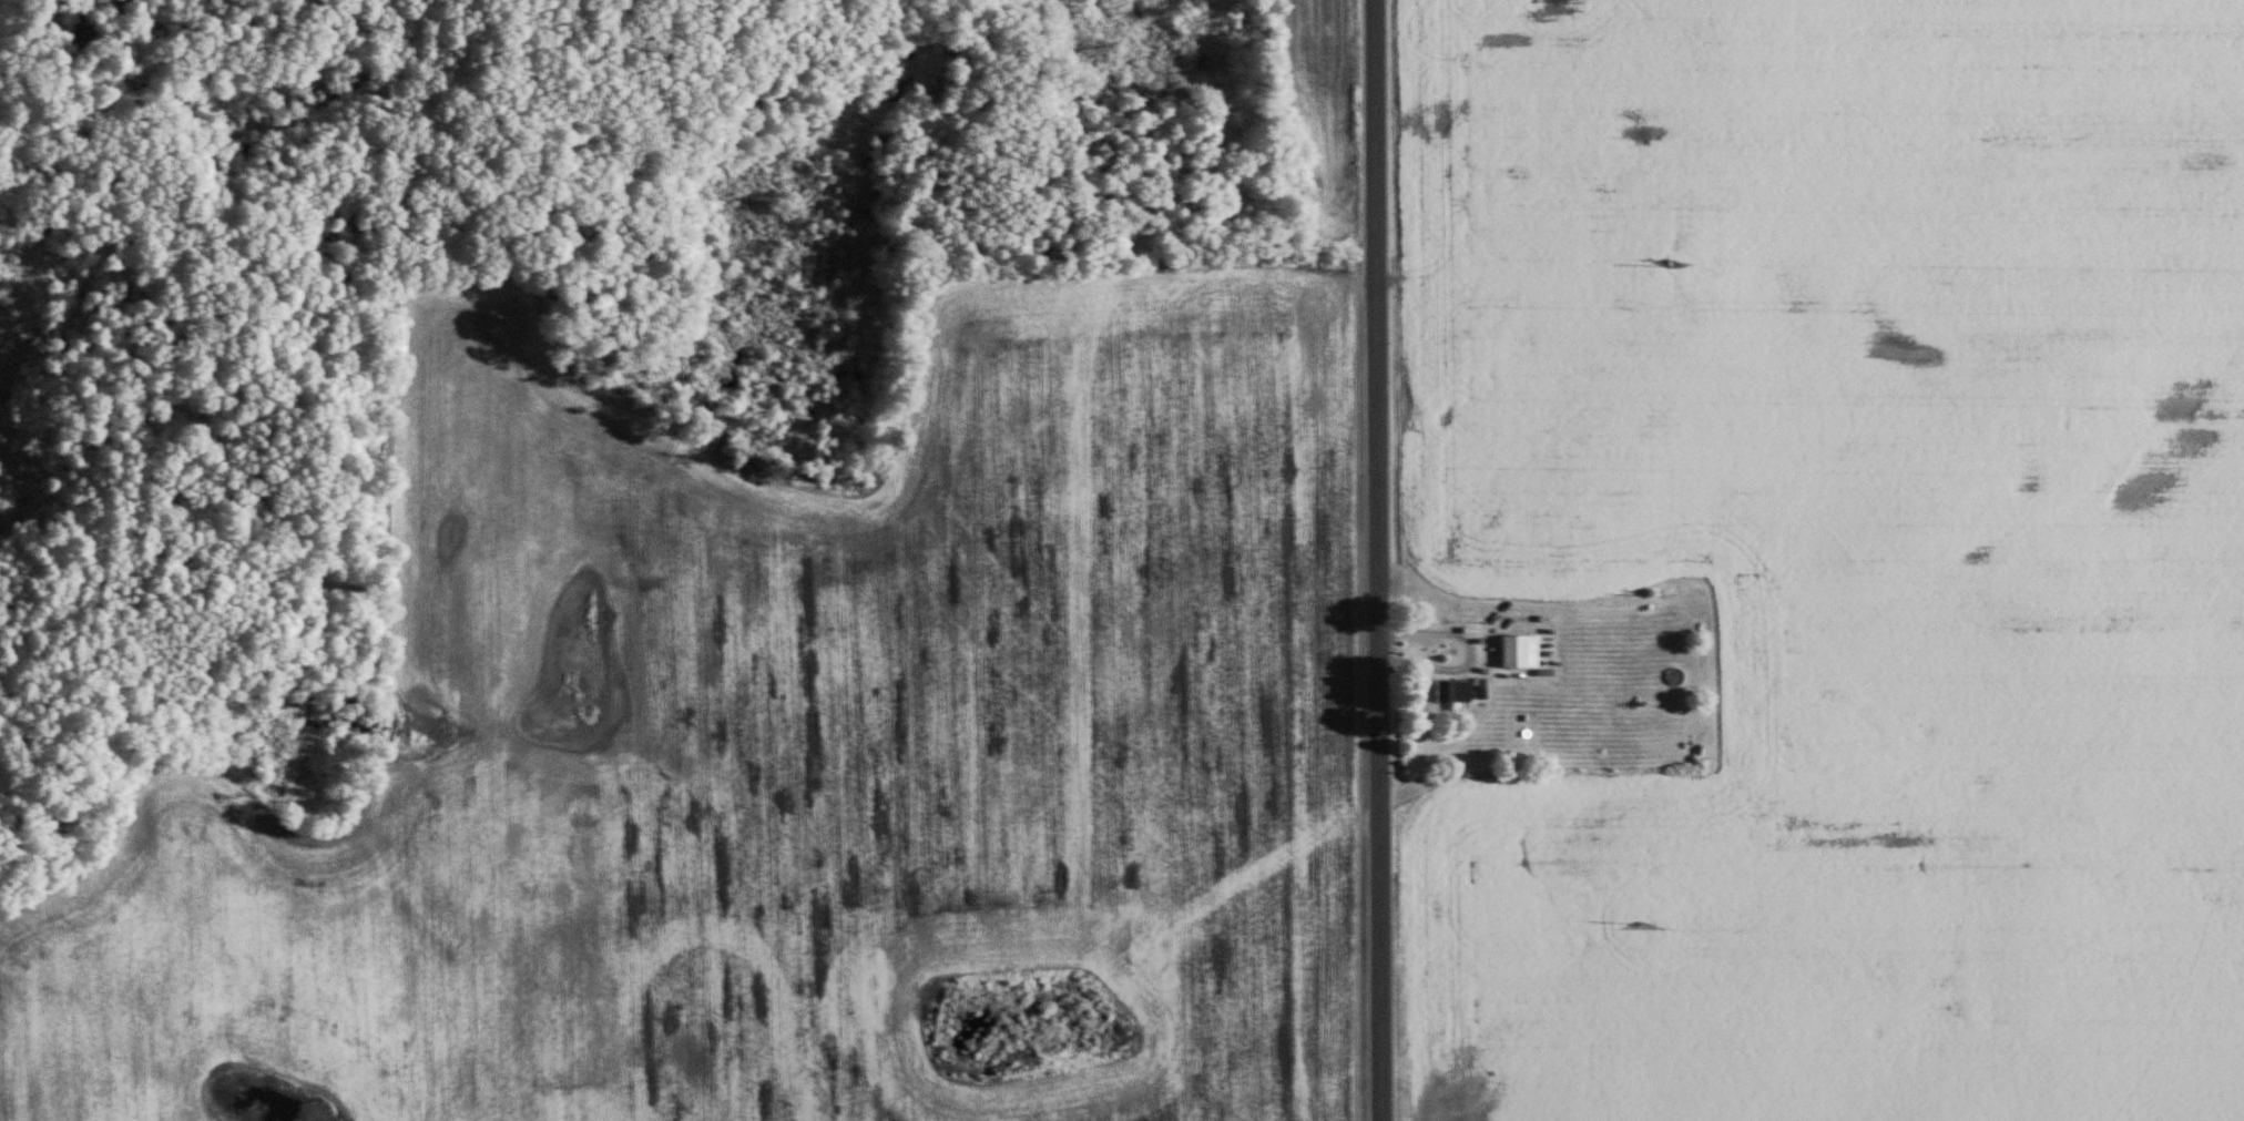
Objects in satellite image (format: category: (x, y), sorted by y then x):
road: (1378, 560)
building: (1517, 653)
building: (1448, 694)

